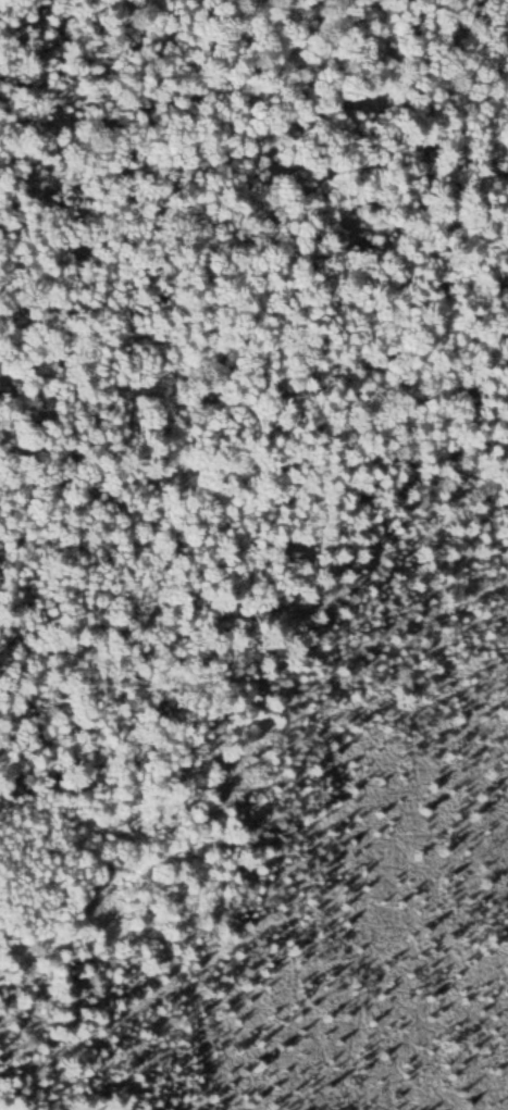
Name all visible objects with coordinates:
road: (178, 152)

